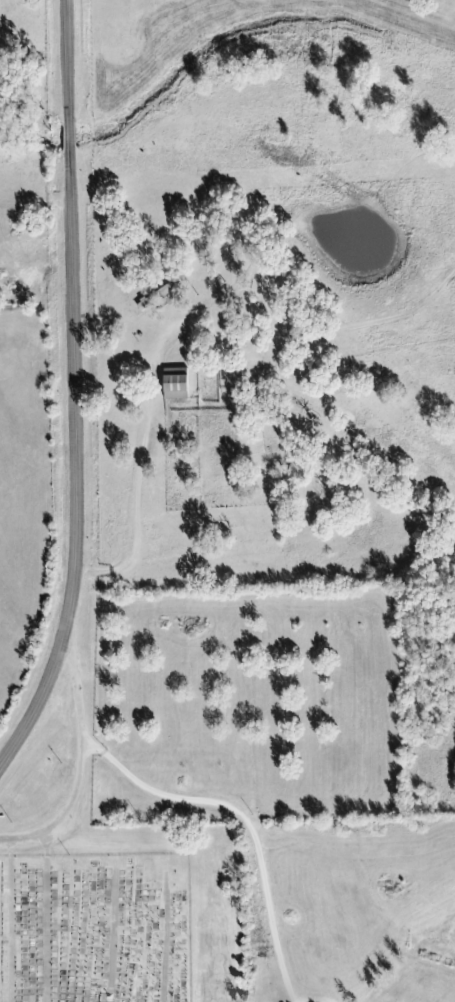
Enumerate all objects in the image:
road: (66, 62)
road: (68, 137)
building: (155, 297)
road: (316, 330)
building: (175, 383)
road: (137, 461)
road: (74, 464)
road: (200, 799)
road: (64, 812)
road: (46, 916)
road: (8, 921)
park: (94, 928)
road: (111, 934)
road: (164, 936)

